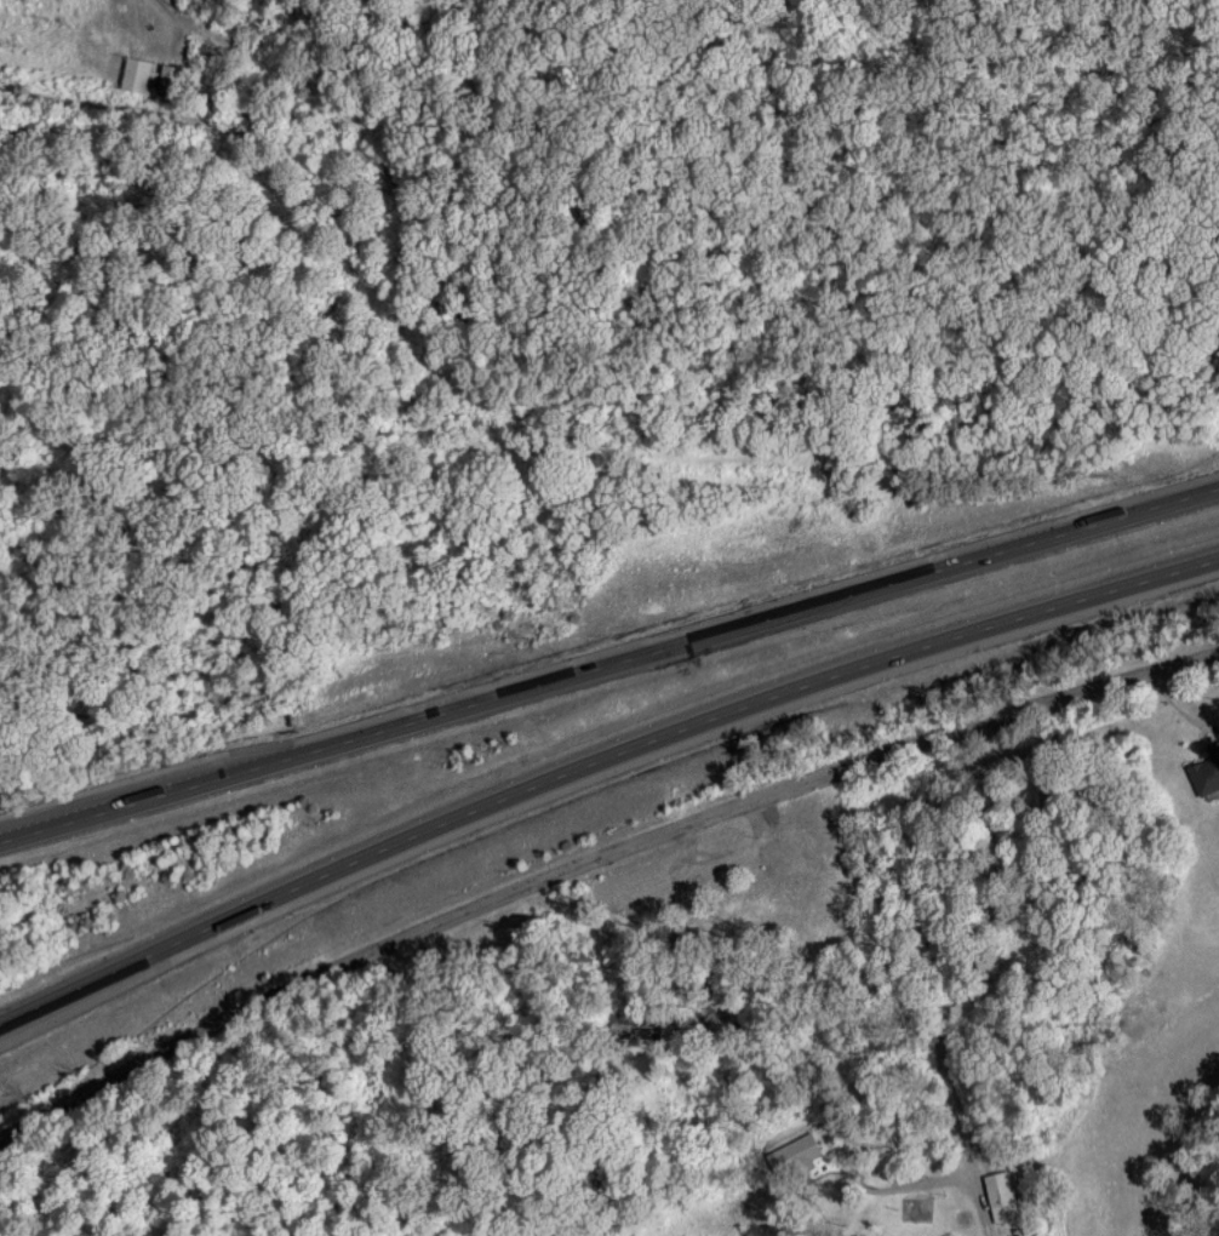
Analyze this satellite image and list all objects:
building: (137, 70)
road: (382, 168)
road: (609, 663)
road: (597, 763)
building: (1204, 771)
road: (593, 864)
road: (956, 988)
building: (791, 1154)
building: (1001, 1195)

